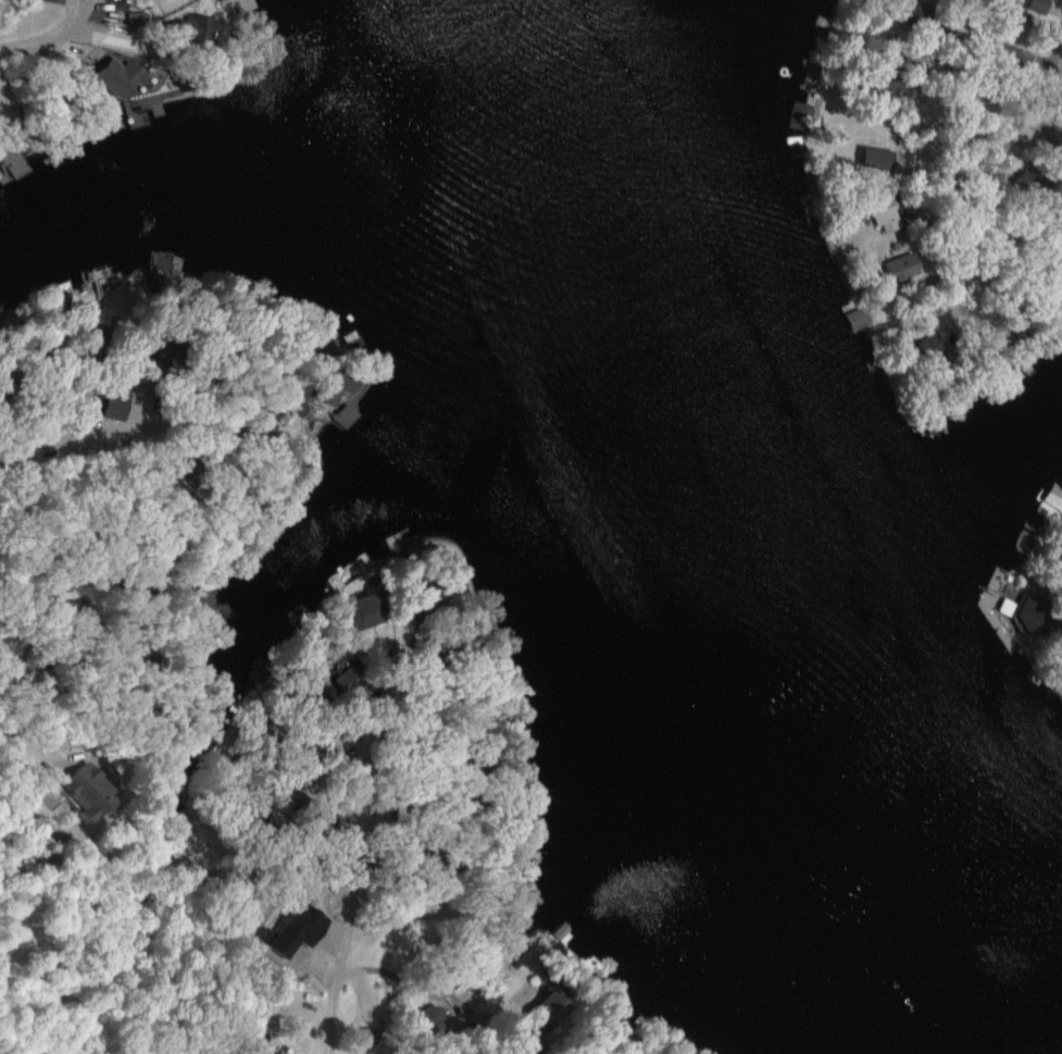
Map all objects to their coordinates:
building: (52, 0)
building: (238, 5)
building: (1036, 5)
building: (132, 20)
building: (189, 28)
road: (50, 32)
building: (913, 59)
building: (1013, 60)
building: (115, 76)
building: (895, 87)
building: (1060, 99)
building: (797, 114)
road: (958, 127)
building: (872, 157)
building: (11, 163)
road: (996, 163)
building: (1020, 179)
building: (882, 211)
building: (899, 266)
building: (923, 349)
building: (328, 386)
building: (111, 405)
road: (99, 435)
building: (193, 599)
building: (363, 610)
building: (1030, 613)
road: (67, 637)
building: (343, 680)
road: (358, 855)
building: (418, 901)
building: (278, 940)
building: (549, 1001)
building: (428, 1018)
building: (276, 1053)

